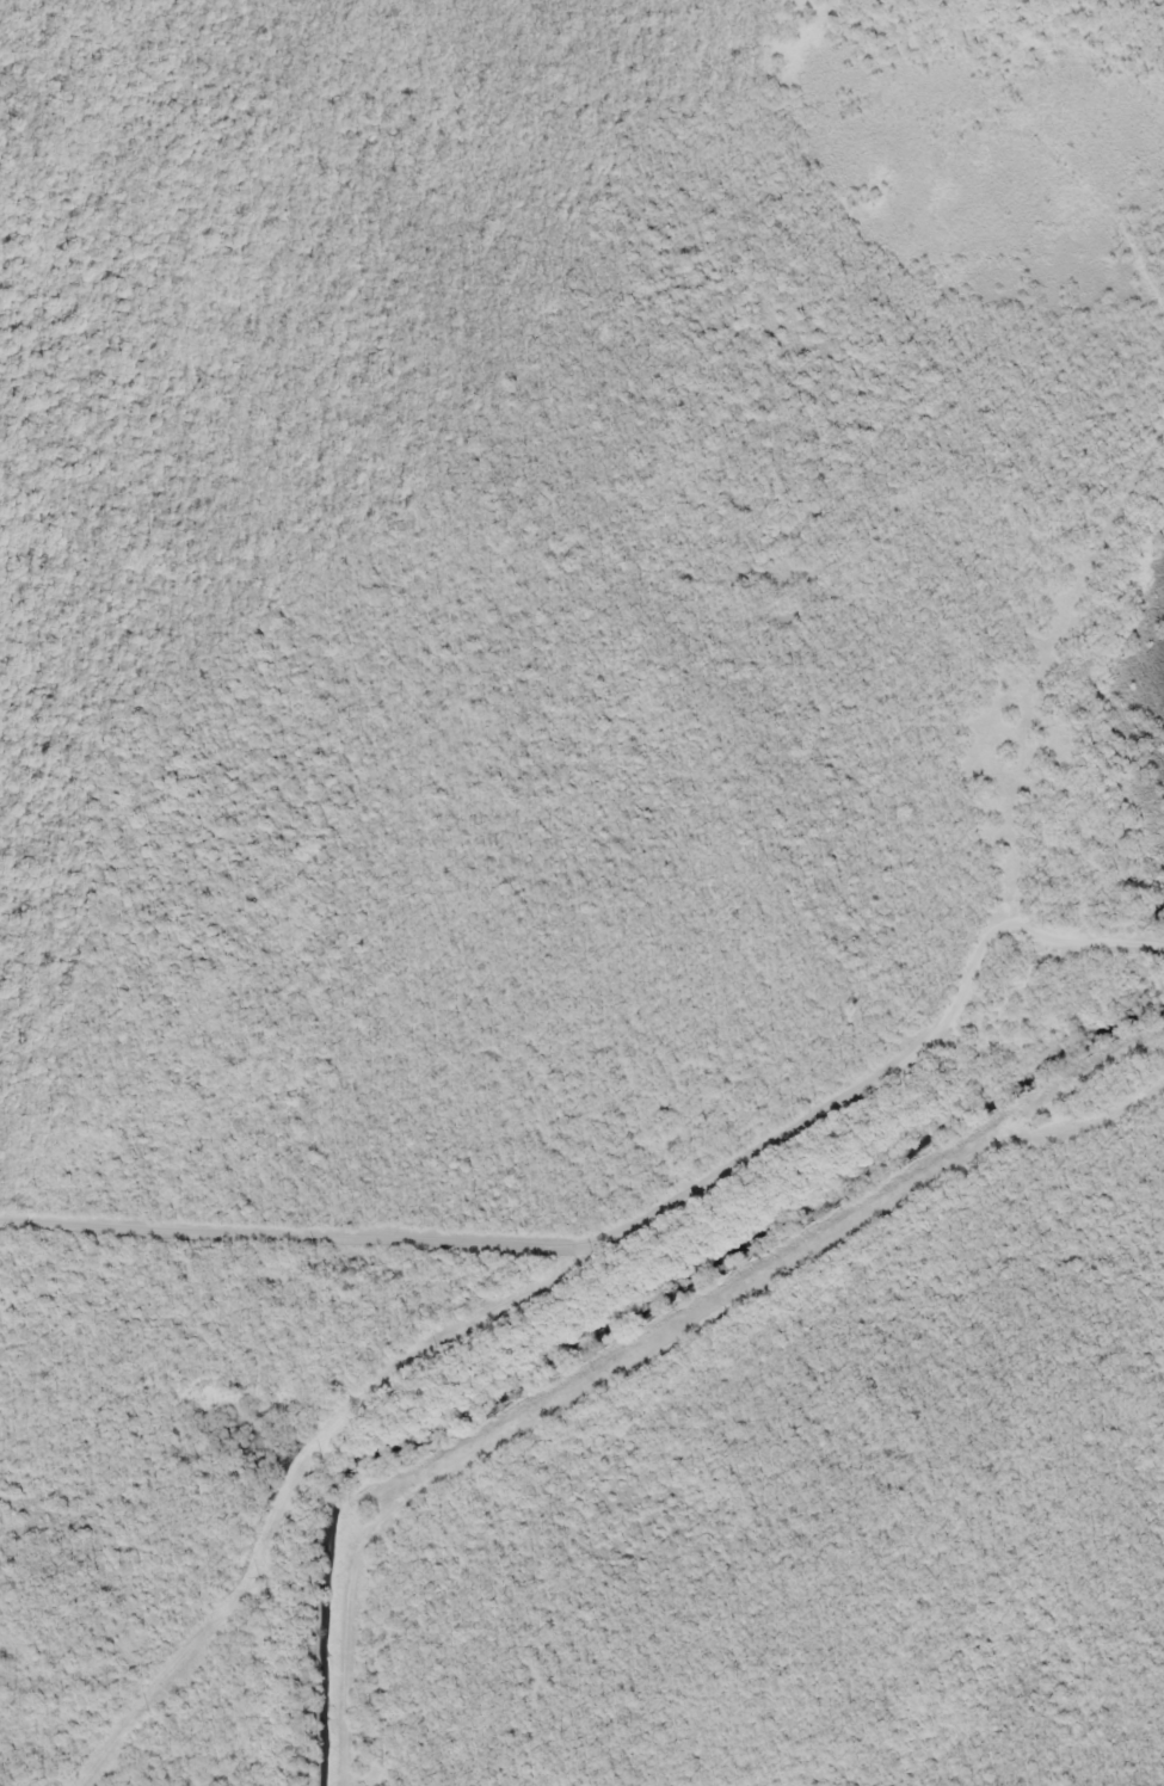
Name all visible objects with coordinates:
road: (1034, 731)
road: (589, 1250)
road: (680, 1334)
road: (295, 1548)

